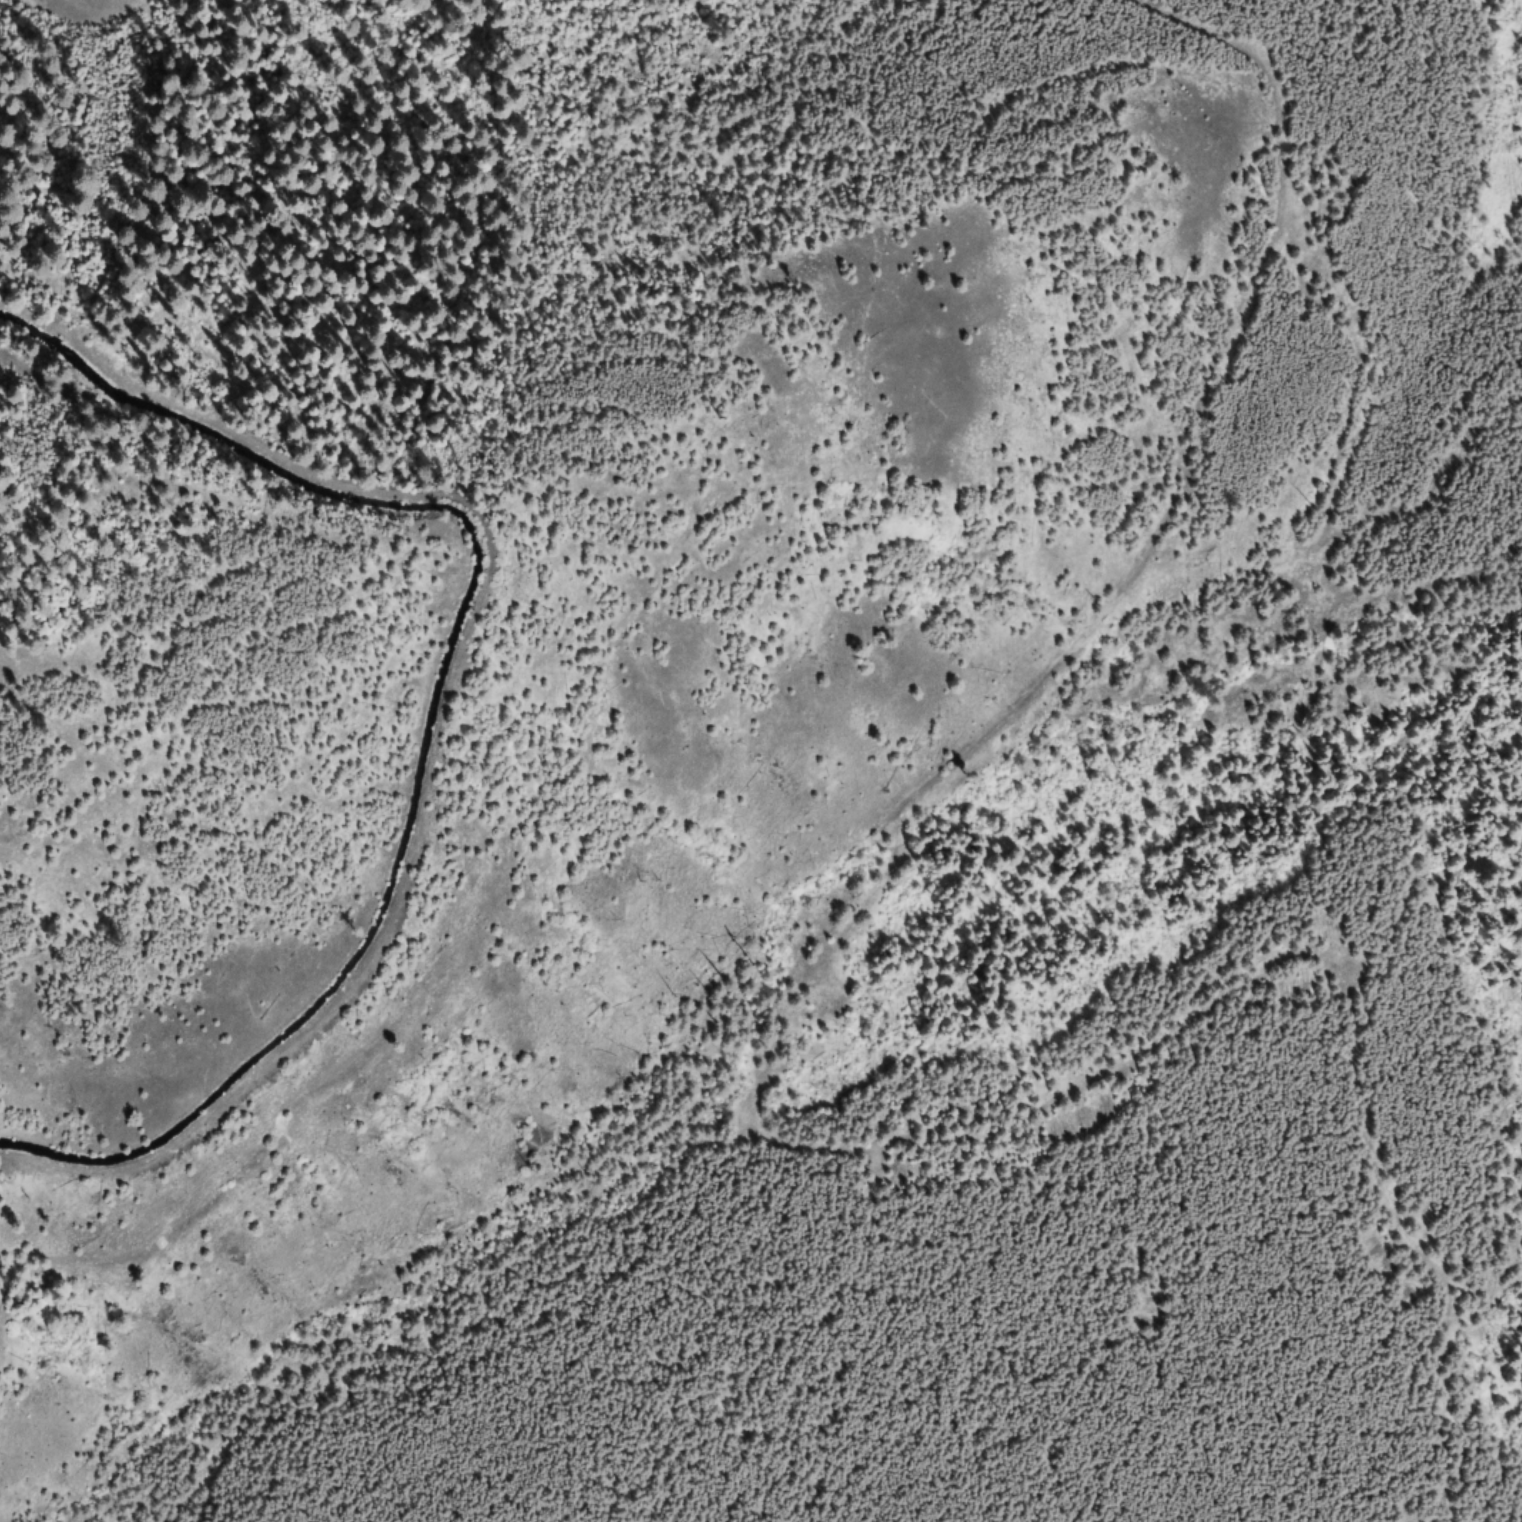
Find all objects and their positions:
road: (1314, 311)

